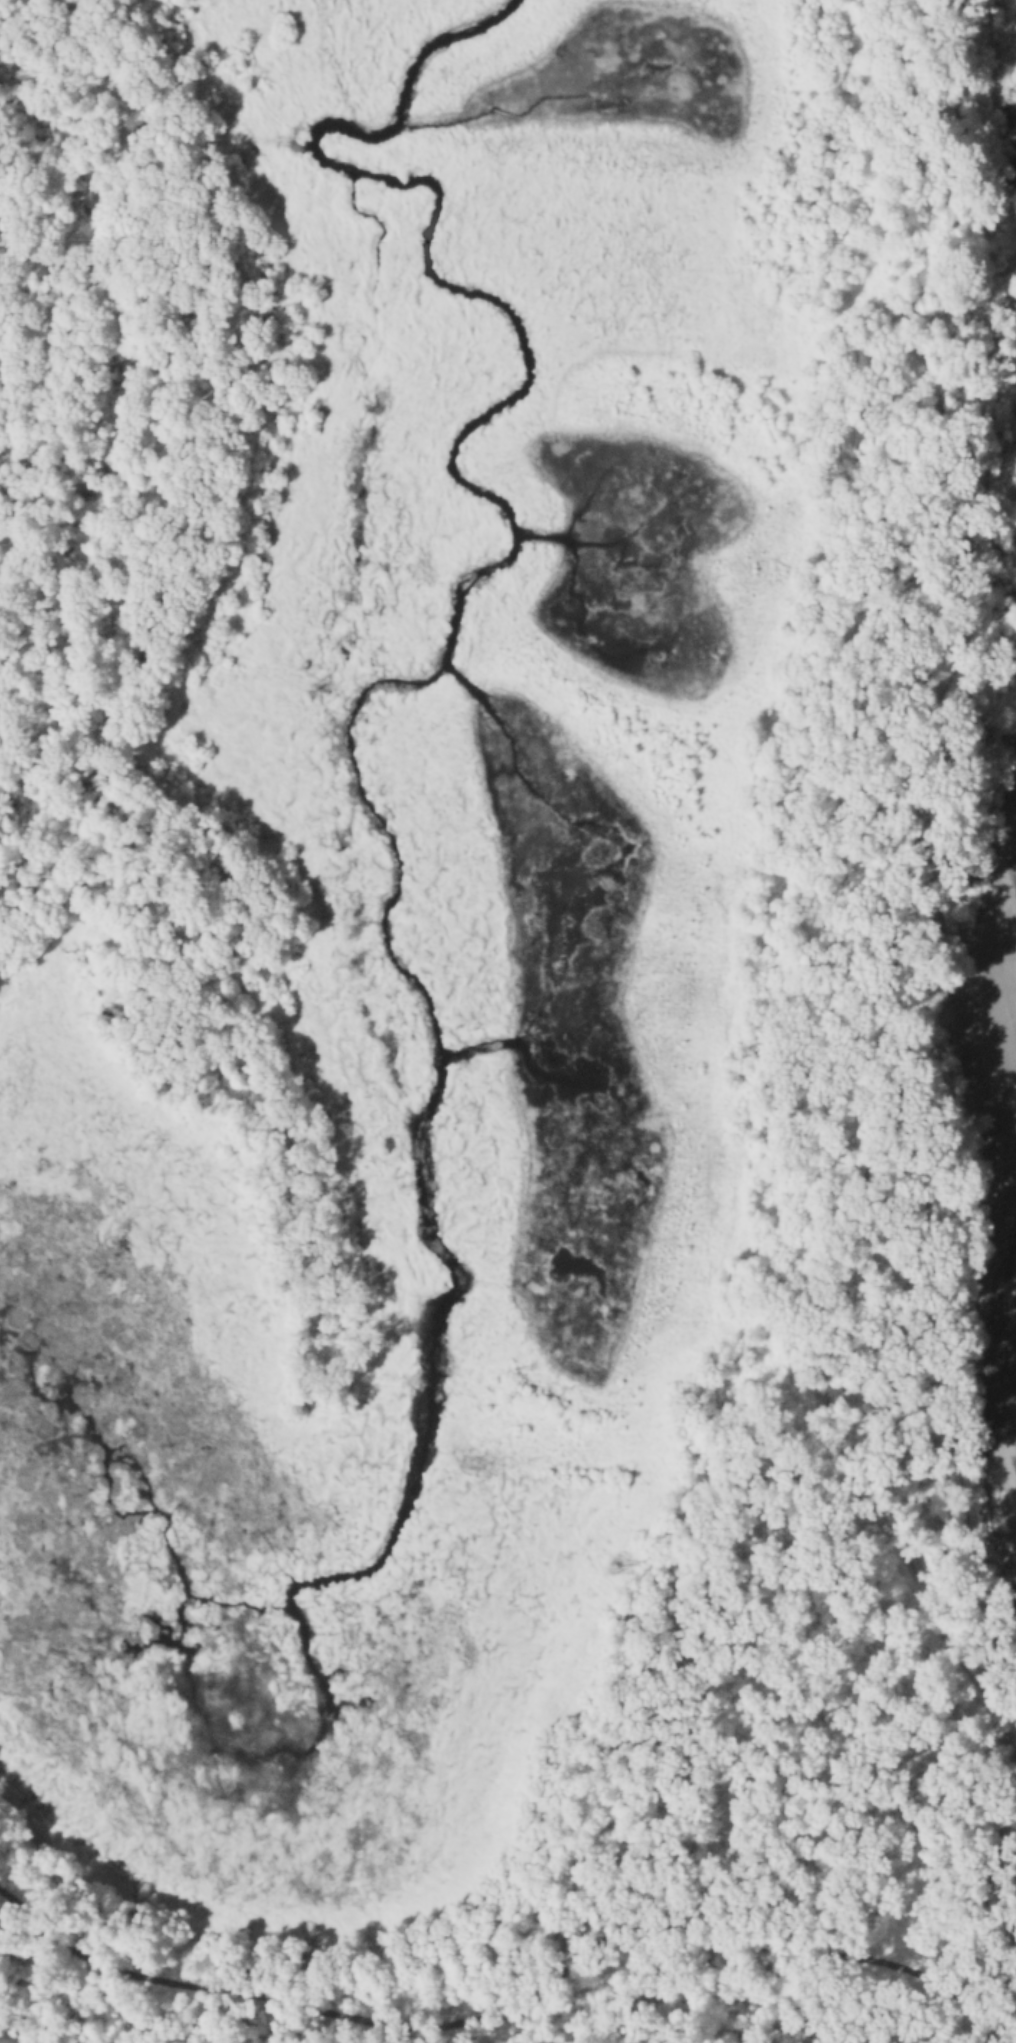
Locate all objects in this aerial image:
road: (903, 1015)

